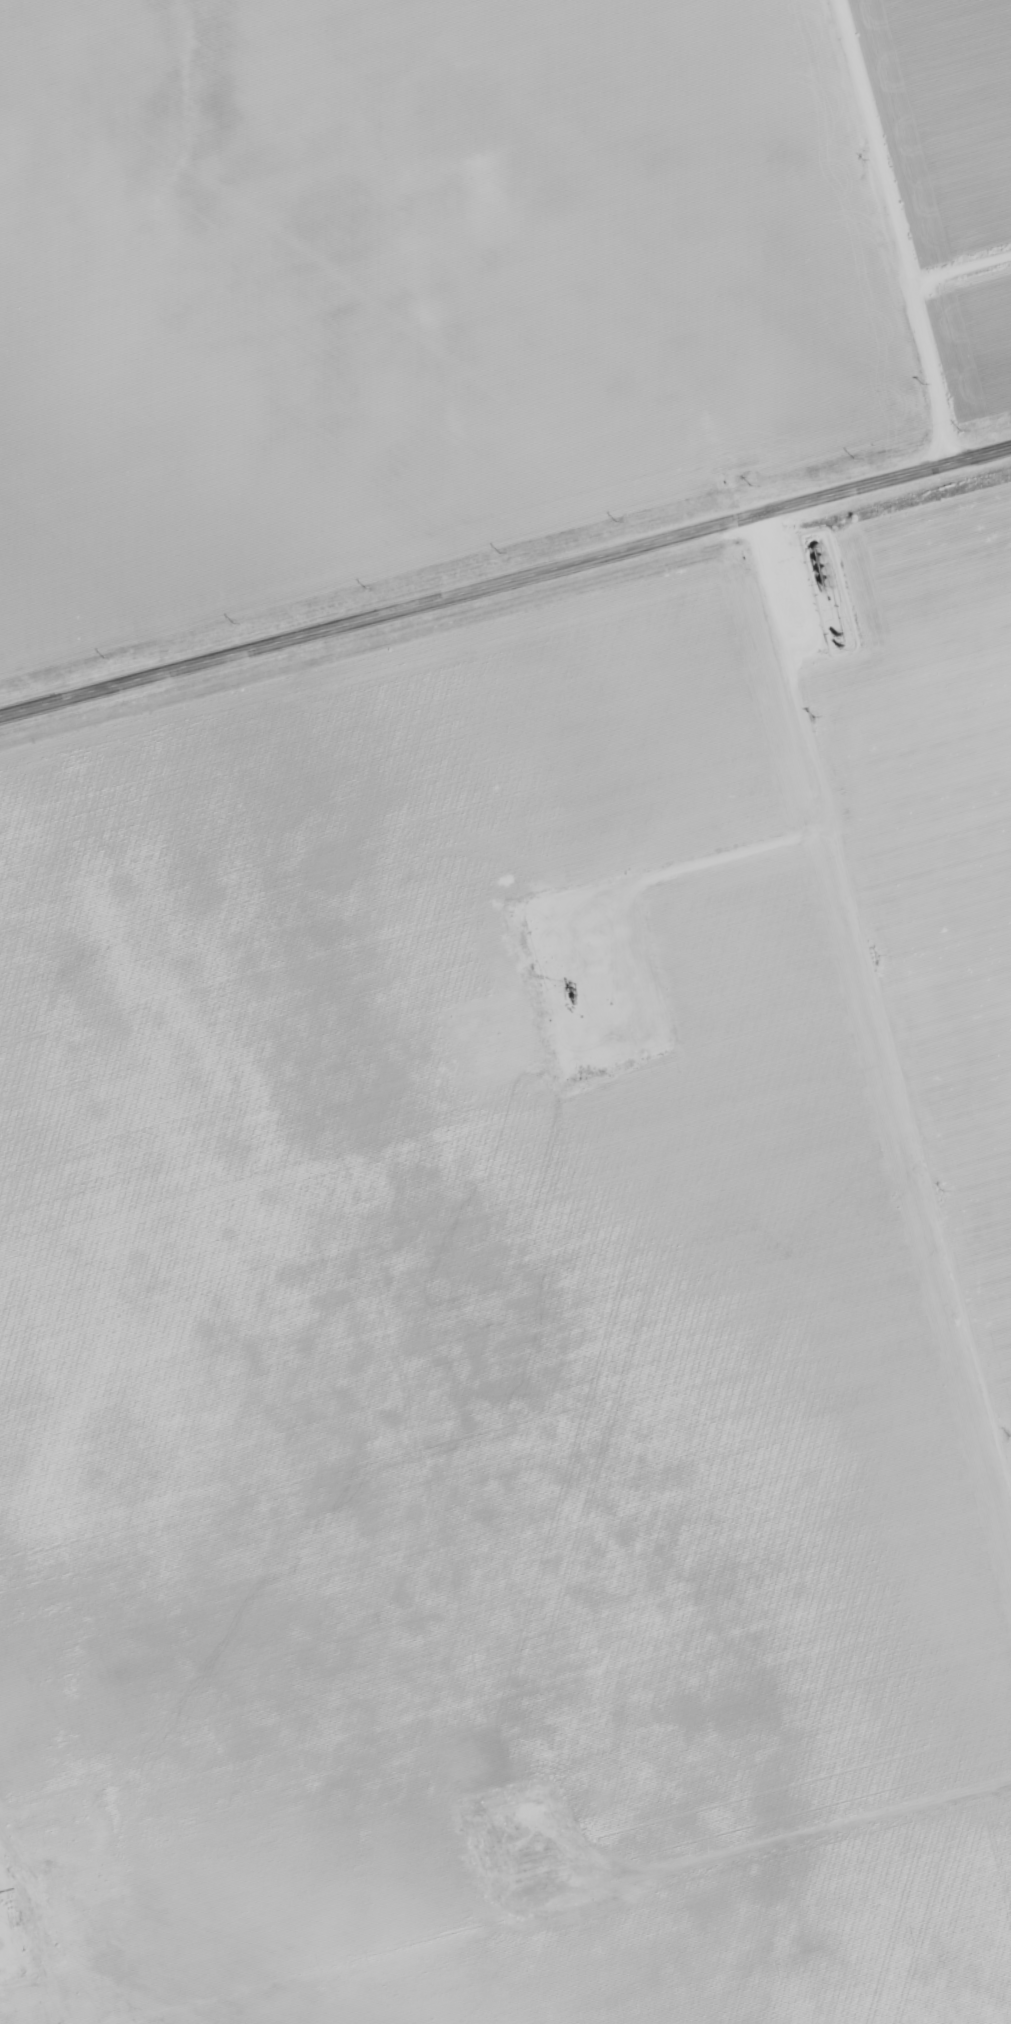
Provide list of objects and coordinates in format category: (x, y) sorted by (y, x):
road: (887, 234)
road: (505, 585)

